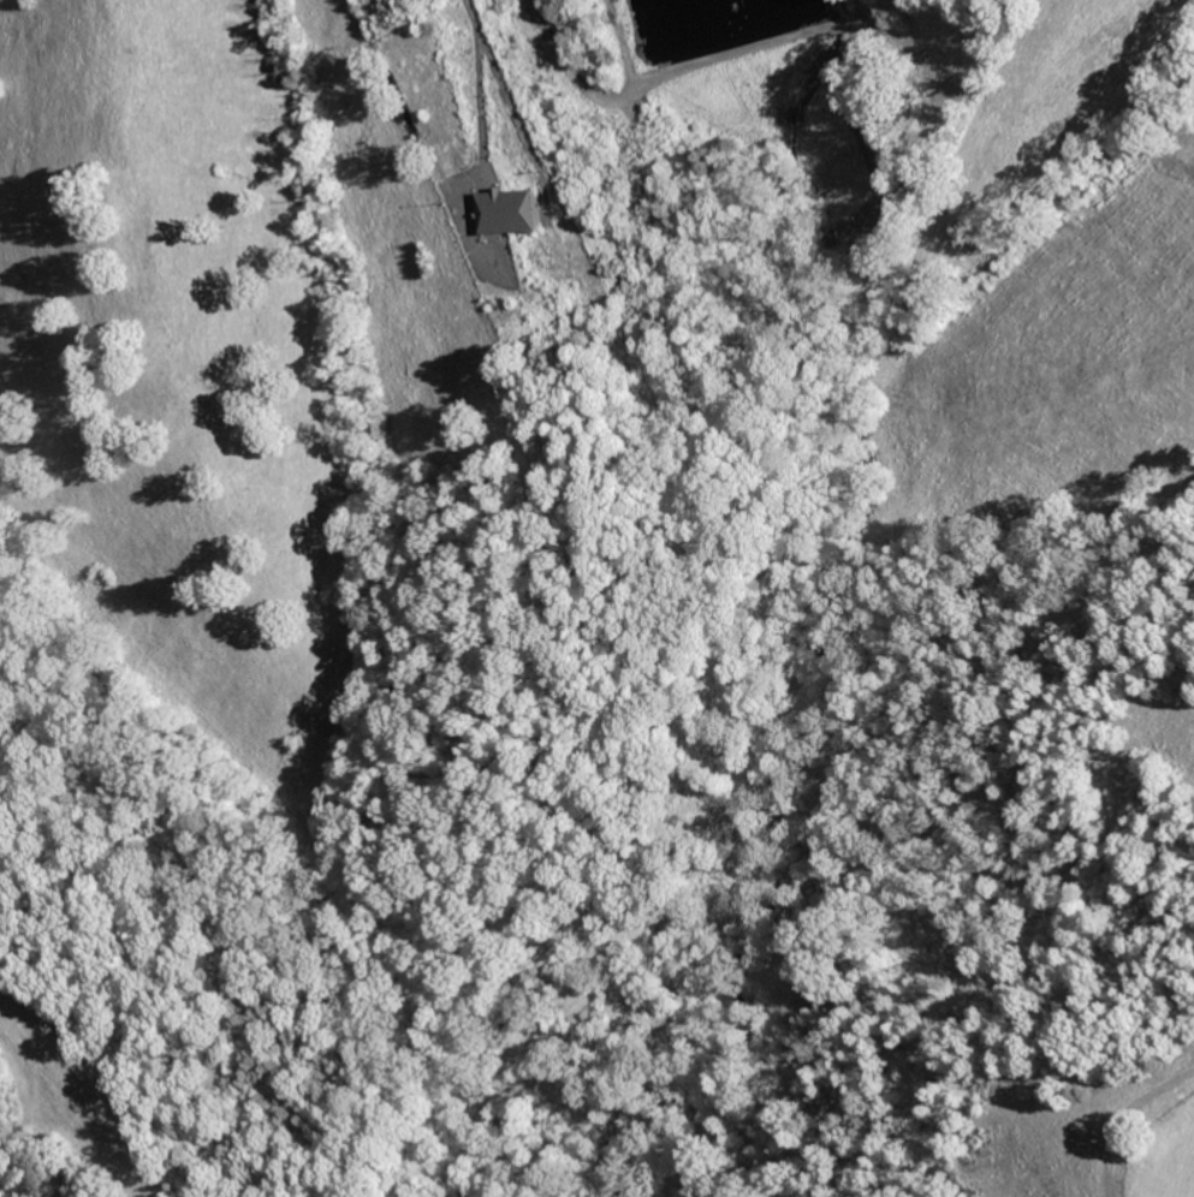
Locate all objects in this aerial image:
road: (790, 36)
road: (553, 41)
road: (596, 89)
building: (517, 210)

